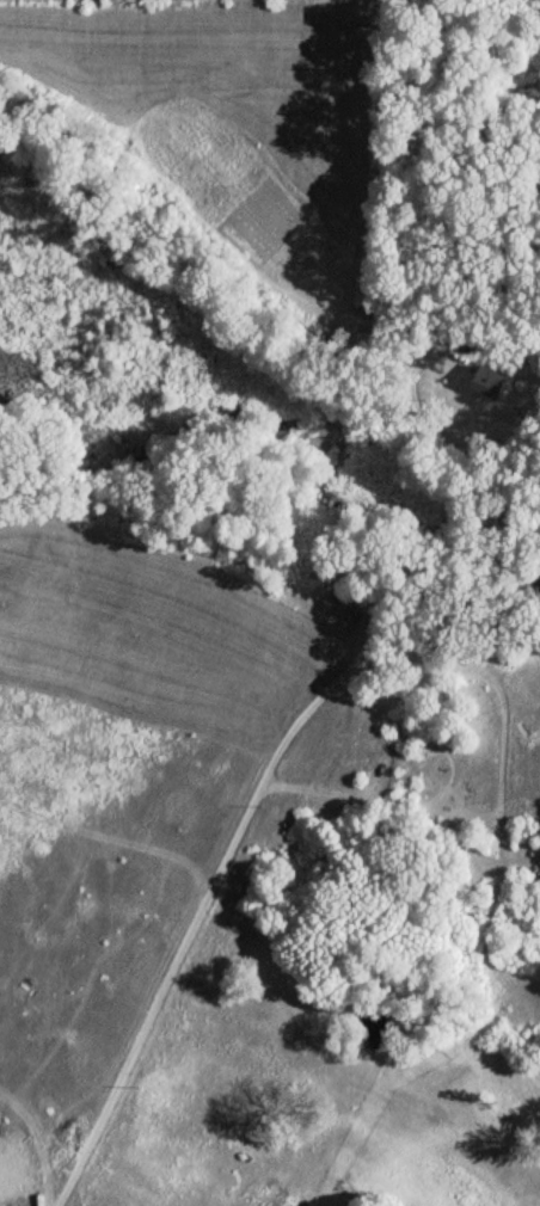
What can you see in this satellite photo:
road: (271, 758)

